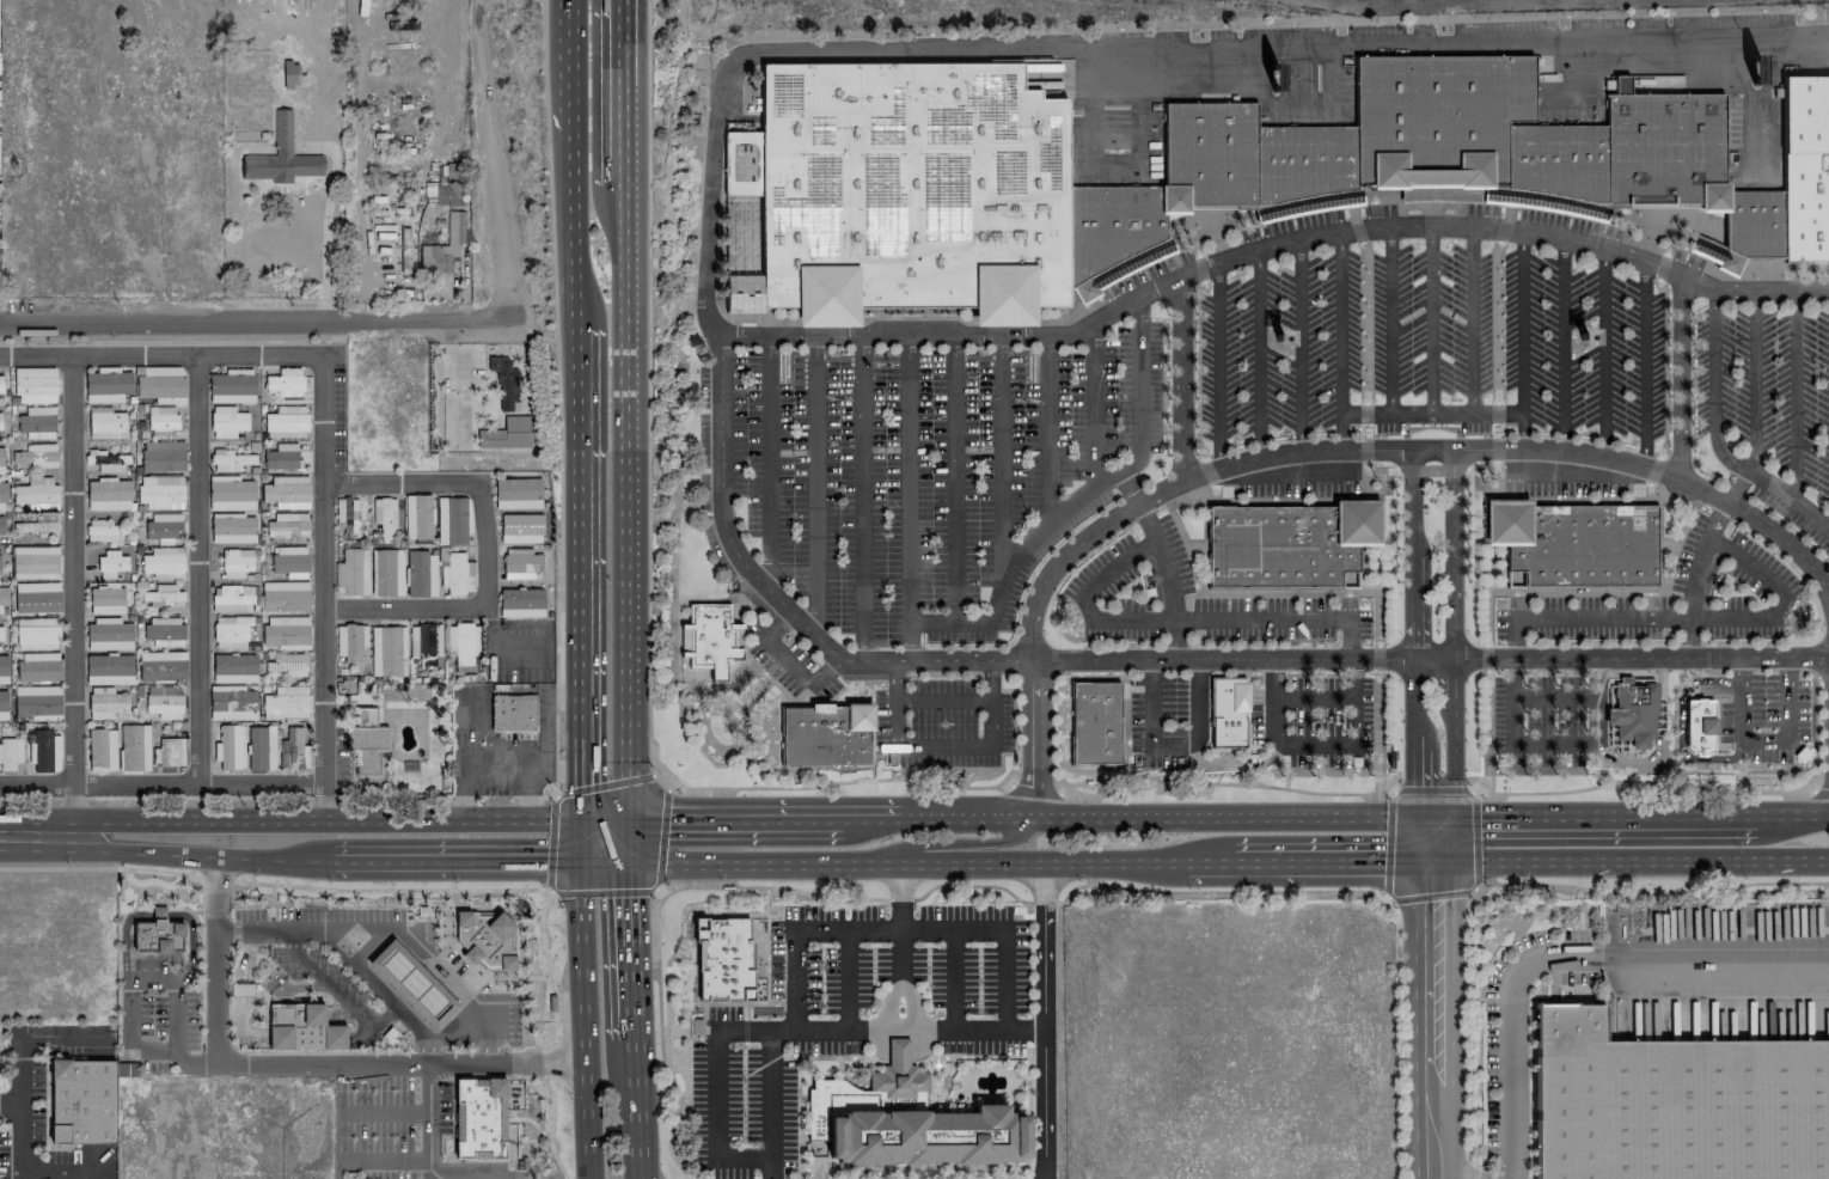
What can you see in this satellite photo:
road: (1138, 45)
road: (568, 65)
building: (243, 90)
road: (623, 92)
road: (487, 159)
building: (1429, 161)
building: (1806, 165)
building: (446, 187)
building: (905, 189)
road: (1443, 225)
road: (569, 228)
building: (738, 231)
building: (445, 245)
road: (1431, 318)
road: (1472, 318)
road: (1389, 319)
road: (255, 320)
road: (1364, 335)
road: (892, 336)
road: (1522, 338)
road: (1340, 340)
road: (1562, 343)
road: (1299, 344)
parking lot: (1427, 347)
road: (1603, 352)
road: (1259, 353)
road: (1217, 364)
road: (1644, 364)
road: (1678, 377)
road: (1180, 378)
building: (285, 381)
building: (504, 383)
road: (1752, 383)
building: (1, 384)
building: (161, 384)
building: (35, 385)
building: (106, 385)
building: (232, 386)
road: (1794, 396)
road: (1497, 401)
road: (1093, 404)
parking lot: (1768, 404)
road: (322, 408)
road: (1430, 413)
building: (161, 420)
building: (0, 421)
building: (227, 421)
building: (287, 421)
building: (37, 422)
building: (105, 423)
road: (1046, 429)
road: (1712, 435)
building: (0, 456)
building: (33, 456)
building: (161, 456)
building: (281, 456)
building: (105, 459)
building: (228, 460)
road: (767, 462)
road: (1001, 462)
parking lot: (916, 472)
road: (1662, 472)
road: (907, 478)
road: (953, 478)
road: (814, 485)
road: (1733, 485)
road: (1127, 488)
building: (160, 490)
building: (286, 491)
building: (36, 493)
building: (109, 493)
building: (230, 493)
building: (518, 493)
building: (2, 494)
road: (861, 497)
road: (625, 502)
road: (1059, 508)
building: (345, 512)
road: (1123, 512)
building: (385, 517)
building: (417, 517)
road: (1717, 519)
building: (452, 520)
building: (288, 524)
building: (36, 525)
building: (163, 525)
building: (0, 529)
building: (233, 529)
building: (521, 529)
building: (104, 530)
building: (1574, 542)
building: (1287, 543)
road: (487, 548)
building: (290, 561)
building: (35, 562)
building: (164, 562)
building: (235, 562)
building: (110, 563)
building: (521, 563)
road: (648, 568)
road: (200, 569)
building: (351, 572)
building: (386, 572)
building: (457, 573)
building: (421, 574)
road: (579, 574)
road: (1694, 575)
road: (1164, 578)
road: (1650, 589)
road: (1217, 591)
building: (4, 594)
building: (285, 594)
building: (163, 595)
building: (36, 597)
parking lot: (1189, 597)
building: (106, 598)
building: (232, 598)
parking lot: (1668, 598)
road: (1084, 599)
building: (521, 601)
road: (73, 604)
road: (1703, 616)
road: (1276, 619)
building: (164, 630)
building: (0, 631)
building: (285, 631)
building: (36, 633)
building: (108, 633)
building: (231, 633)
road: (1414, 634)
road: (1454, 634)
road: (1513, 637)
road: (1689, 637)
building: (711, 639)
building: (350, 641)
building: (424, 643)
building: (464, 646)
building: (387, 649)
road: (497, 652)
road: (1149, 658)
parking lot: (788, 659)
road: (791, 659)
building: (287, 664)
building: (38, 665)
building: (161, 665)
building: (233, 667)
building: (2, 668)
building: (108, 668)
road: (1787, 668)
road: (1739, 670)
road: (1273, 696)
road: (1554, 696)
road: (1313, 697)
road: (1353, 698)
road: (1595, 698)
road: (941, 700)
road: (1199, 700)
road: (1513, 700)
building: (164, 701)
building: (36, 702)
building: (105, 702)
building: (232, 703)
building: (285, 703)
building: (2, 705)
building: (1633, 710)
building: (1227, 711)
building: (514, 713)
parking lot: (1764, 715)
parking lot: (1317, 716)
parking lot: (1536, 716)
parking lot: (1157, 719)
parking lot: (942, 722)
building: (1094, 722)
road: (1154, 722)
building: (1698, 725)
road: (1681, 727)
road: (543, 731)
road: (873, 733)
building: (825, 734)
road: (1314, 739)
building: (366, 740)
road: (1554, 740)
road: (1762, 740)
road: (942, 741)
road: (1656, 743)
building: (231, 746)
building: (133, 747)
building: (43, 749)
building: (100, 749)
building: (261, 749)
building: (293, 750)
building: (170, 751)
building: (10, 752)
road: (1235, 760)
road: (481, 769)
road: (161, 782)
road: (1470, 789)
road: (522, 794)
road: (324, 801)
road: (965, 814)
road: (870, 819)
traffic signals: (581, 820)
road: (735, 820)
traffic signals: (1414, 820)
road: (1431, 820)
traffic signals: (1456, 820)
road: (605, 821)
road: (290, 823)
traffic signals: (629, 823)
road: (1425, 841)
road: (1446, 841)
road: (580, 842)
road: (629, 842)
road: (968, 843)
road: (289, 857)
road: (1633, 860)
traffic signals: (630, 861)
road: (605, 862)
road: (1033, 862)
traffic signals: (1437, 862)
traffic signals: (580, 863)
road: (59, 868)
road: (1085, 884)
road: (723, 885)
road: (334, 888)
road: (551, 894)
road: (271, 899)
road: (473, 909)
road: (160, 914)
road: (201, 916)
road: (715, 916)
road: (396, 929)
road: (269, 930)
building: (158, 934)
road: (542, 935)
building: (487, 937)
road: (1003, 946)
road: (900, 948)
road: (632, 949)
road: (157, 954)
road: (1570, 957)
building: (724, 959)
road: (166, 964)
road: (269, 972)
road: (188, 977)
road: (533, 977)
road: (845, 977)
road: (953, 977)
road: (794, 979)
building: (412, 983)
road: (298, 984)
road: (154, 985)
road: (384, 994)
road: (336, 995)
road: (201, 997)
road: (281, 997)
road: (765, 997)
road: (308, 998)
road: (889, 998)
road: (910, 998)
parking lot: (849, 1016)
road: (1044, 1020)
road: (1437, 1020)
road: (582, 1021)
road: (744, 1021)
building: (302, 1027)
road: (898, 1028)
road: (35, 1032)
road: (252, 1037)
road: (459, 1037)
road: (659, 1038)
road: (751, 1041)
road: (771, 1041)
road: (852, 1049)
road: (818, 1056)
road: (840, 1056)
road: (930, 1056)
road: (972, 1056)
road: (296, 1064)
road: (966, 1085)
road: (715, 1094)
road: (446, 1096)
road: (551, 1099)
building: (82, 1101)
building: (1674, 1105)
road: (636, 1108)
road: (1027, 1108)
road: (385, 1112)
building: (479, 1118)
road: (452, 1120)
road: (430, 1122)
building: (904, 1122)
road: (19, 1126)
road: (549, 1135)
road: (374, 1160)
road: (479, 1160)
road: (441, 1162)
road: (834, 1168)
road: (1014, 1169)
road: (473, 1171)

